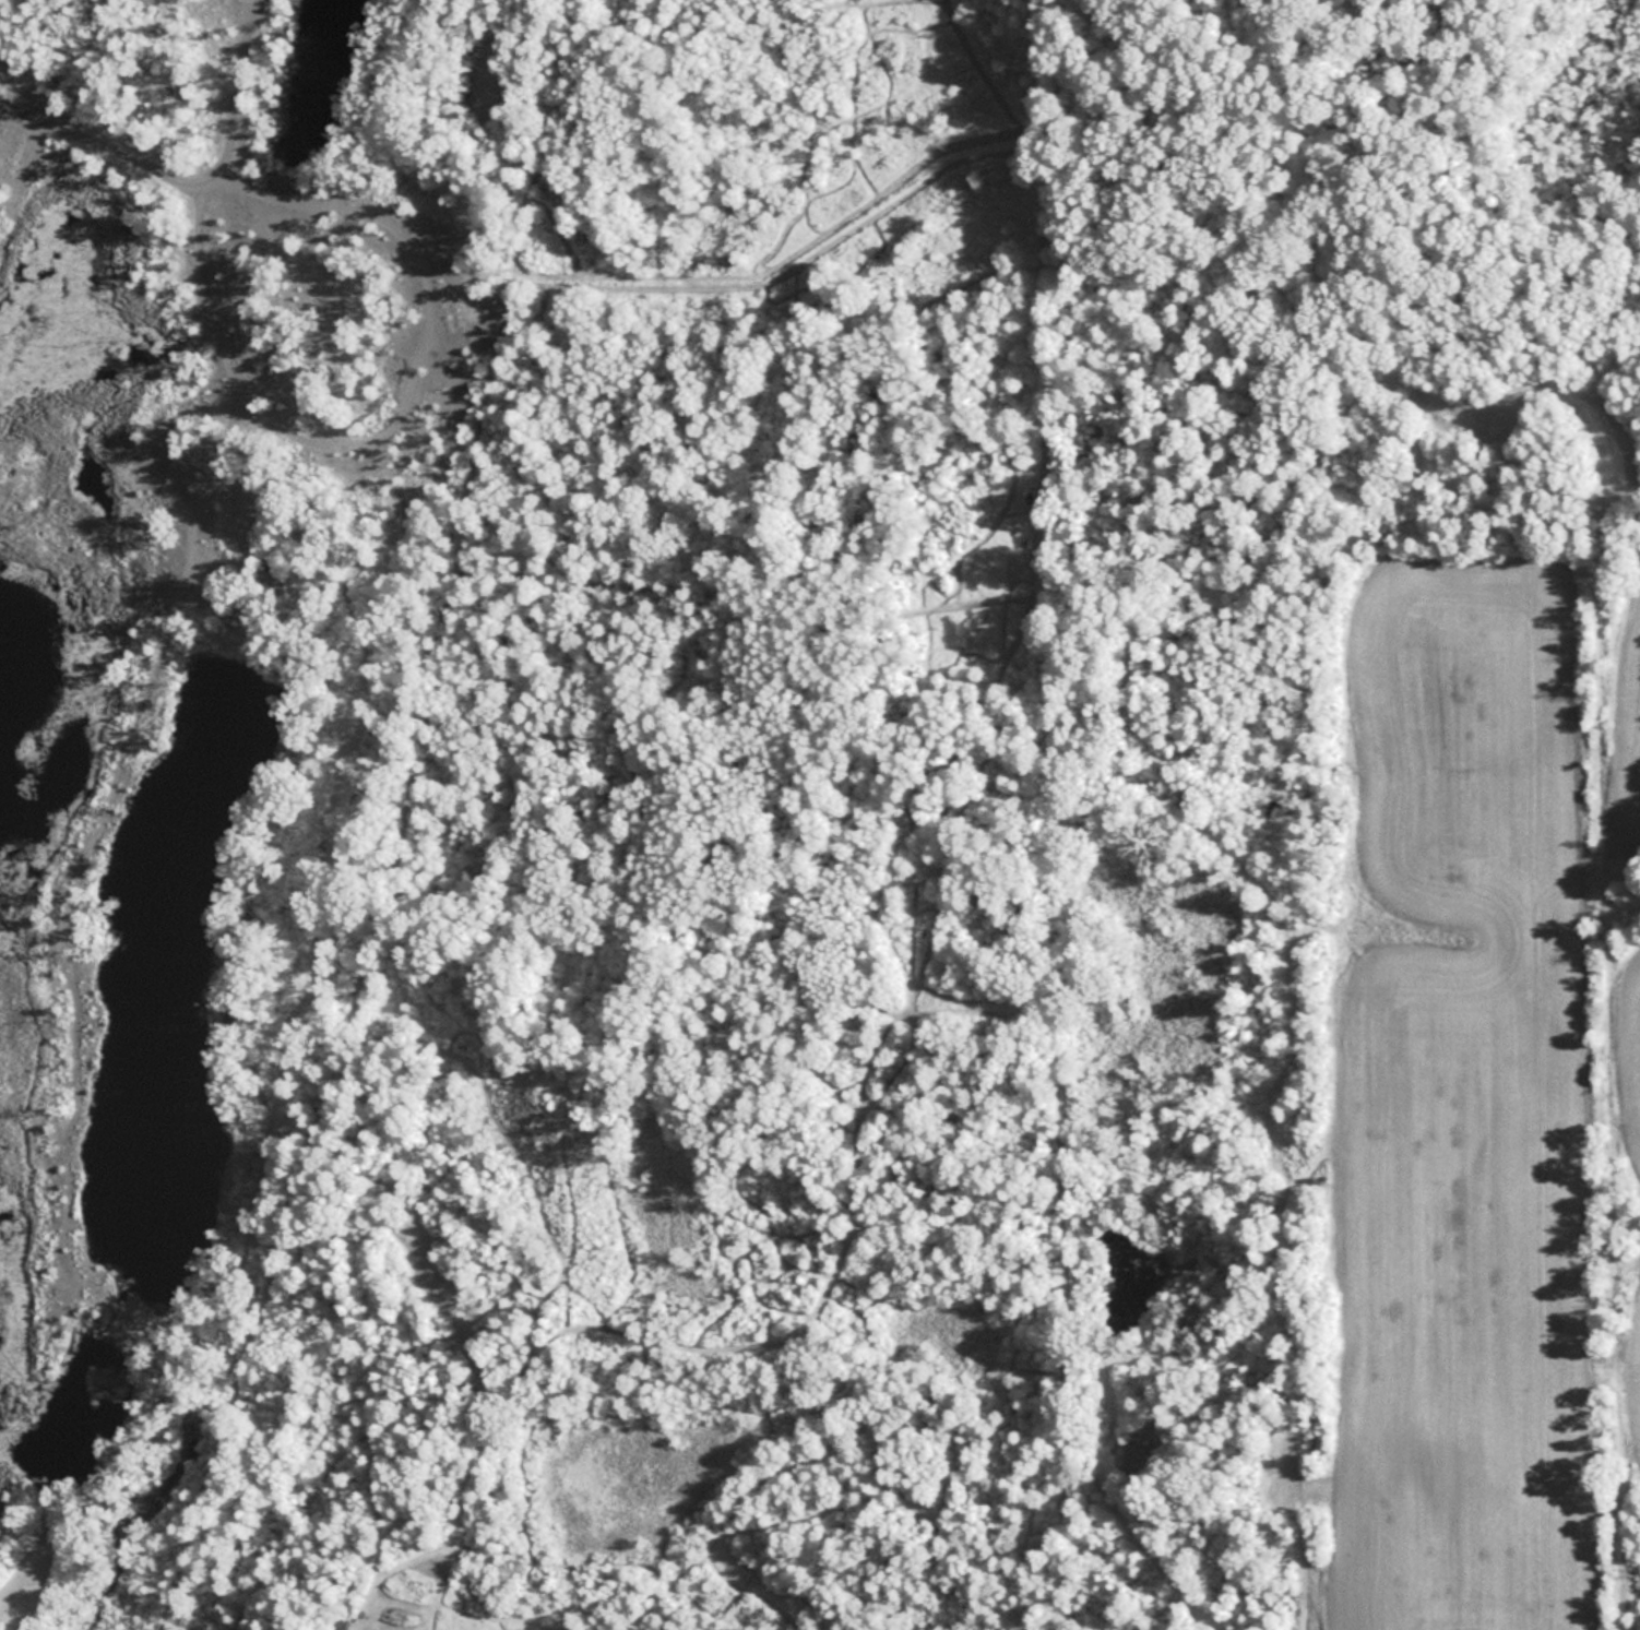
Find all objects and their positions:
road: (230, 87)
road: (108, 134)
building: (1022, 453)
building: (337, 1623)

